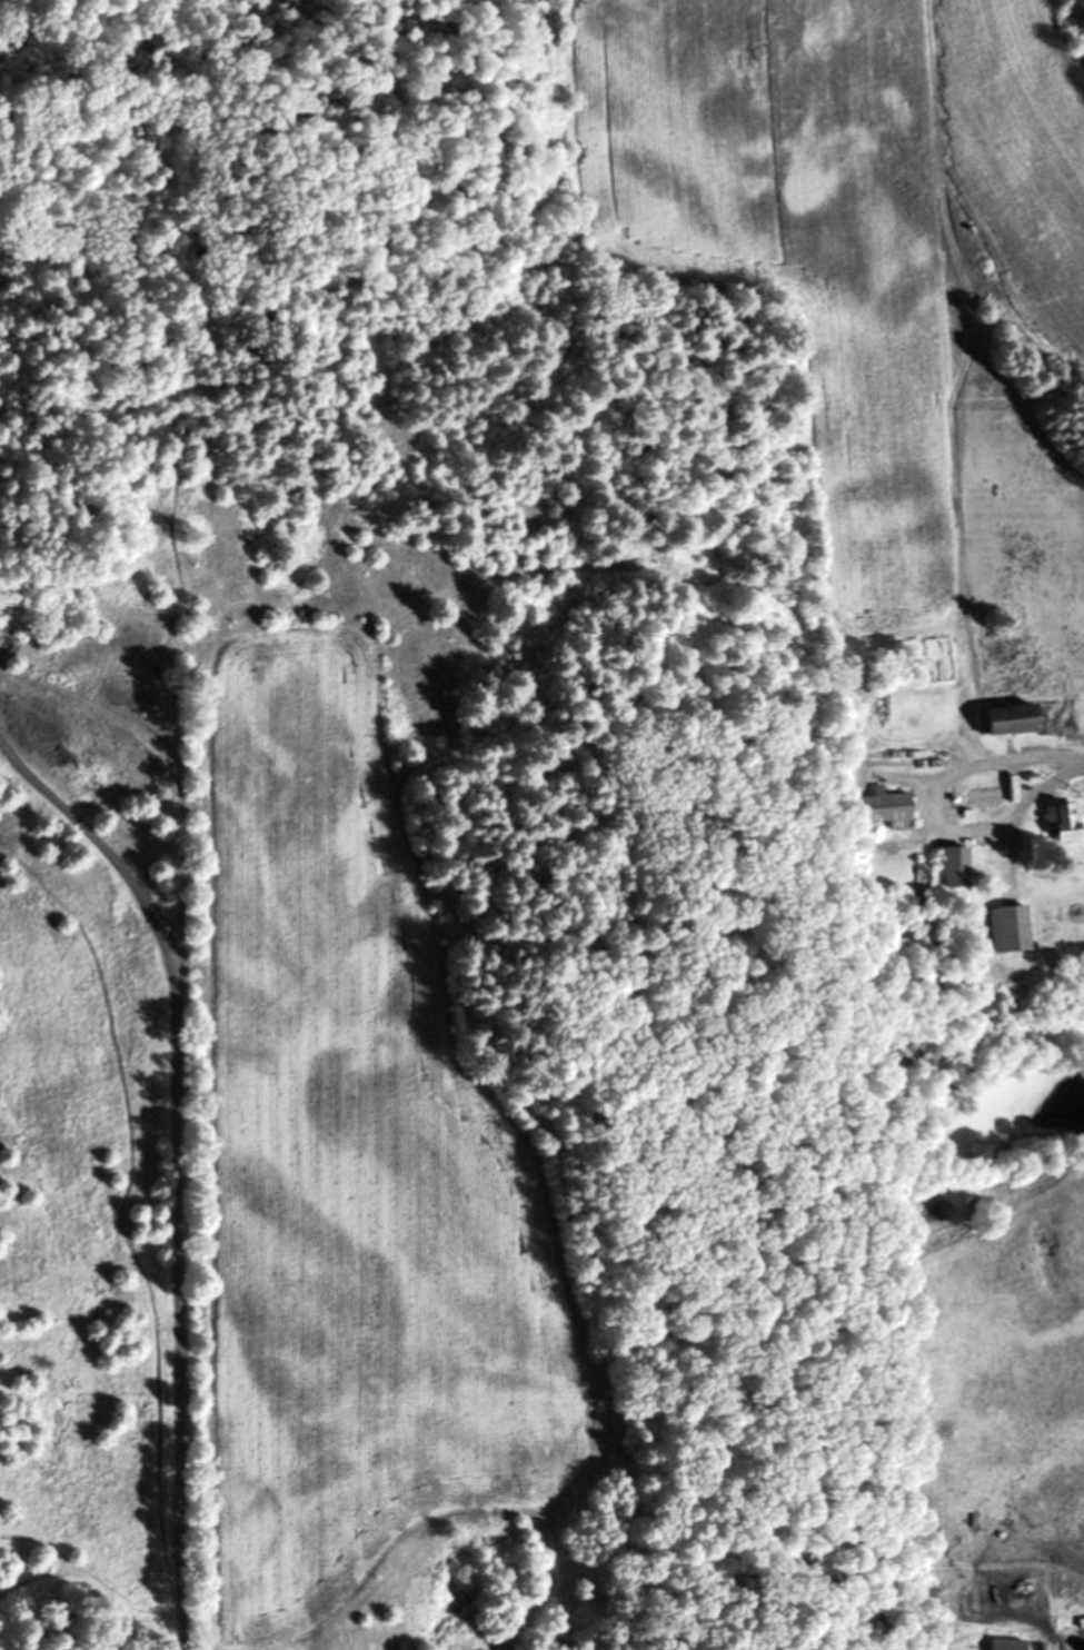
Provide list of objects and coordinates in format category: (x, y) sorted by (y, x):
building: (1011, 718)
road: (1060, 763)
building: (886, 807)
building: (1063, 823)
building: (958, 866)
building: (1010, 928)
road: (185, 1099)
building: (1010, 1644)

